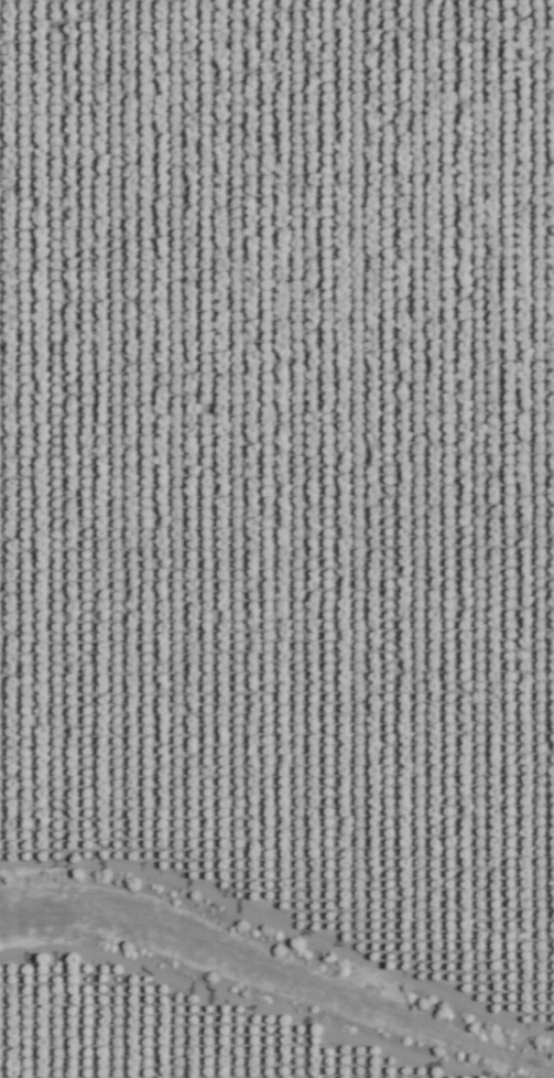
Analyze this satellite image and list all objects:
crop: (276, 539)

